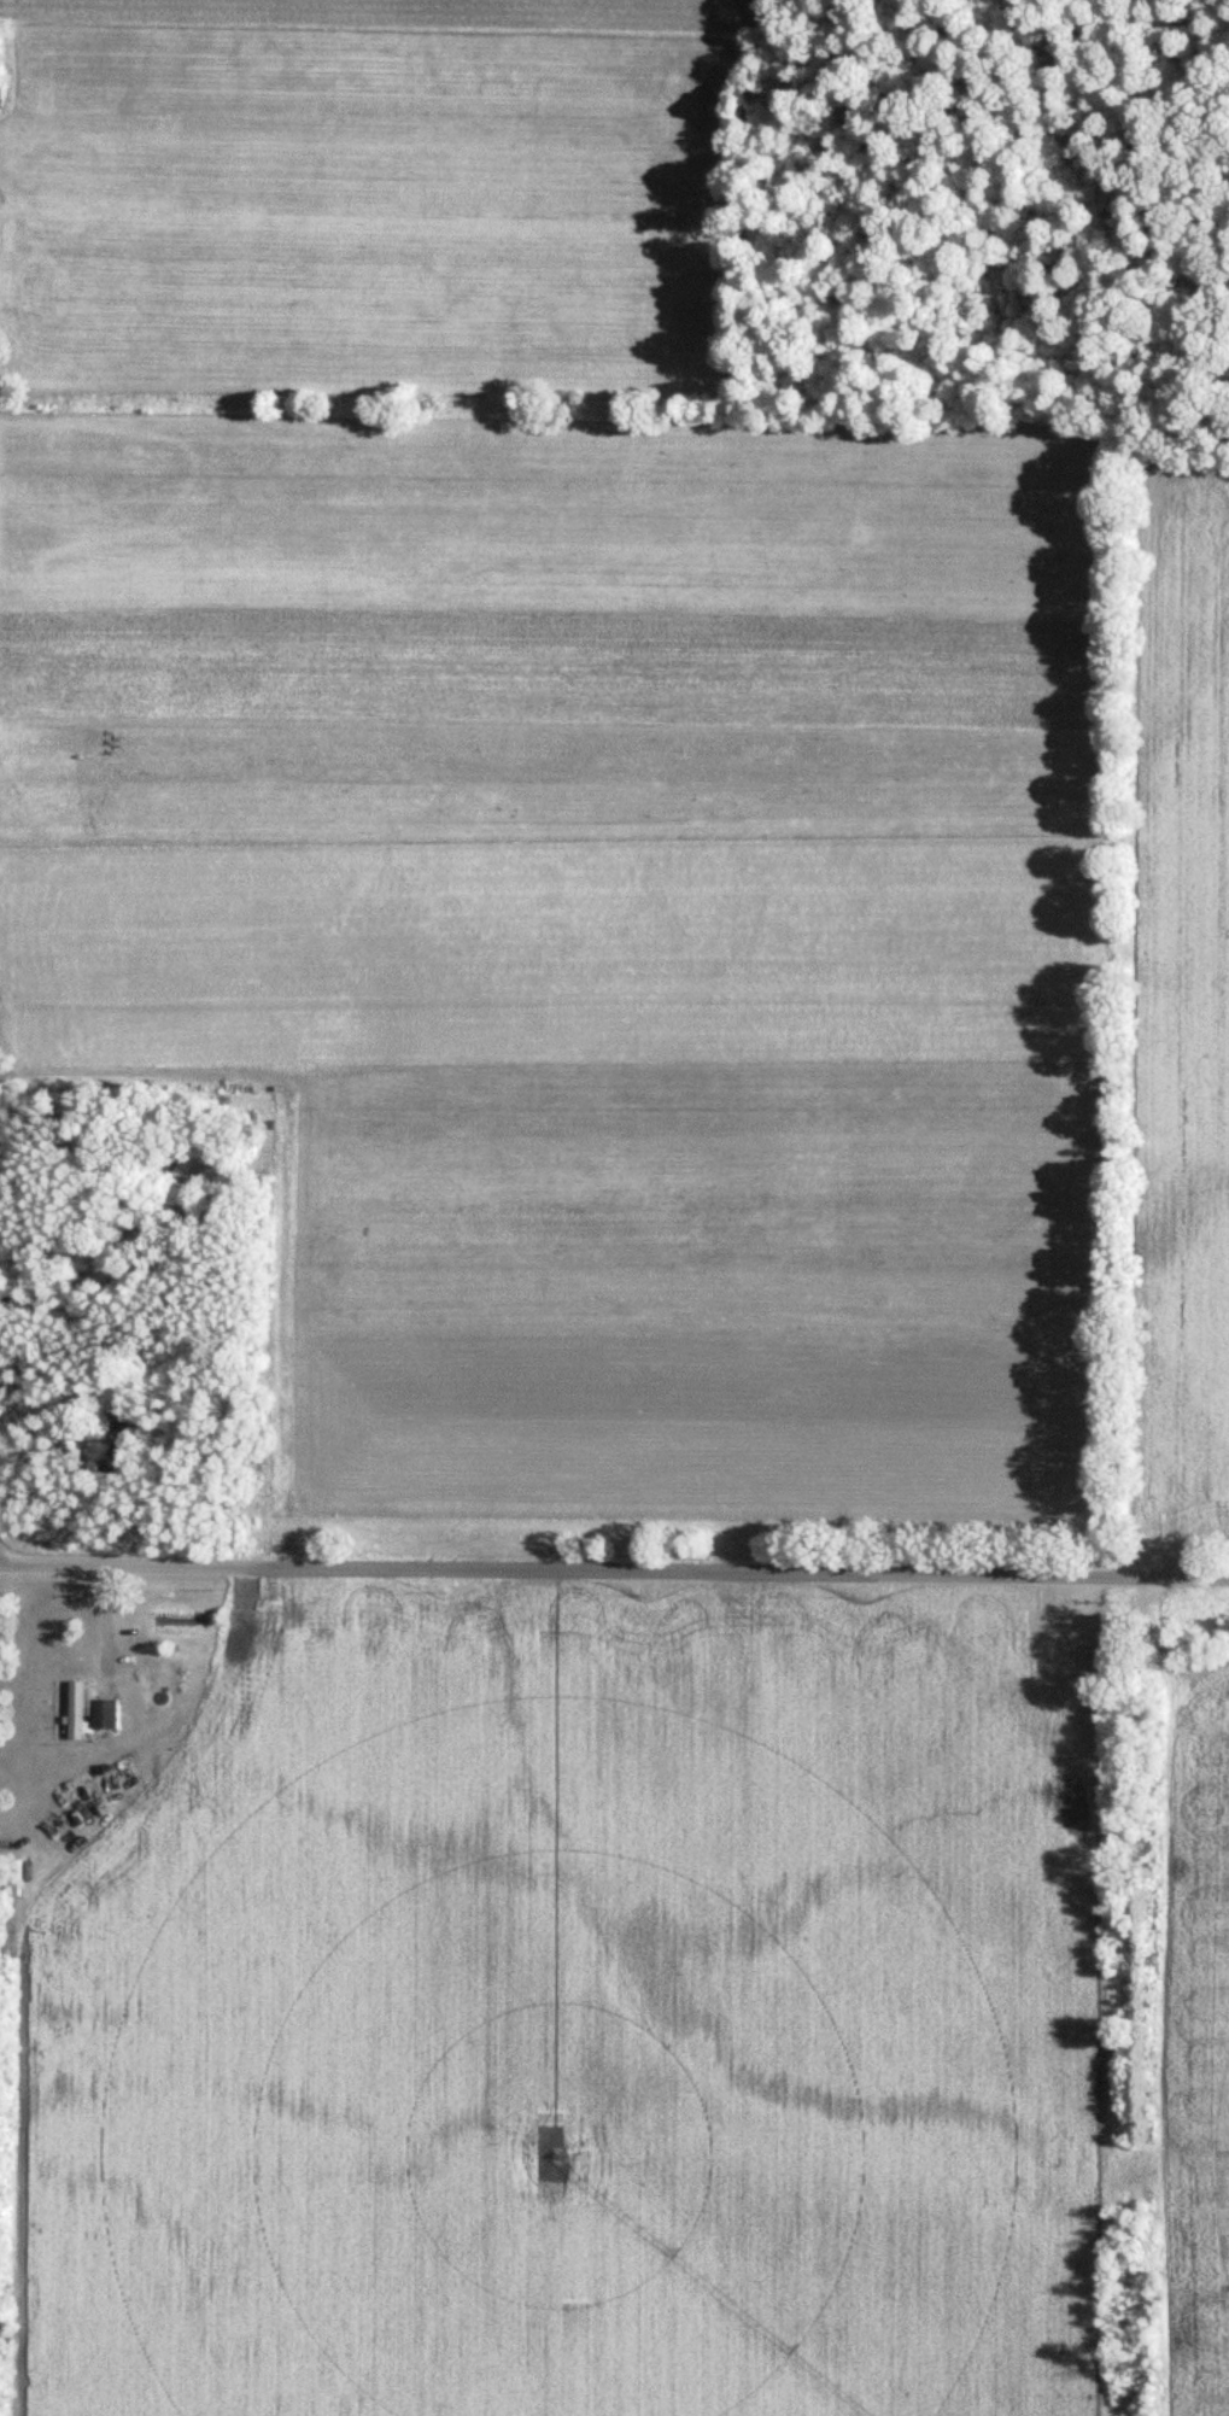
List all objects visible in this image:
road: (614, 1573)
building: (74, 1709)
building: (103, 1713)

